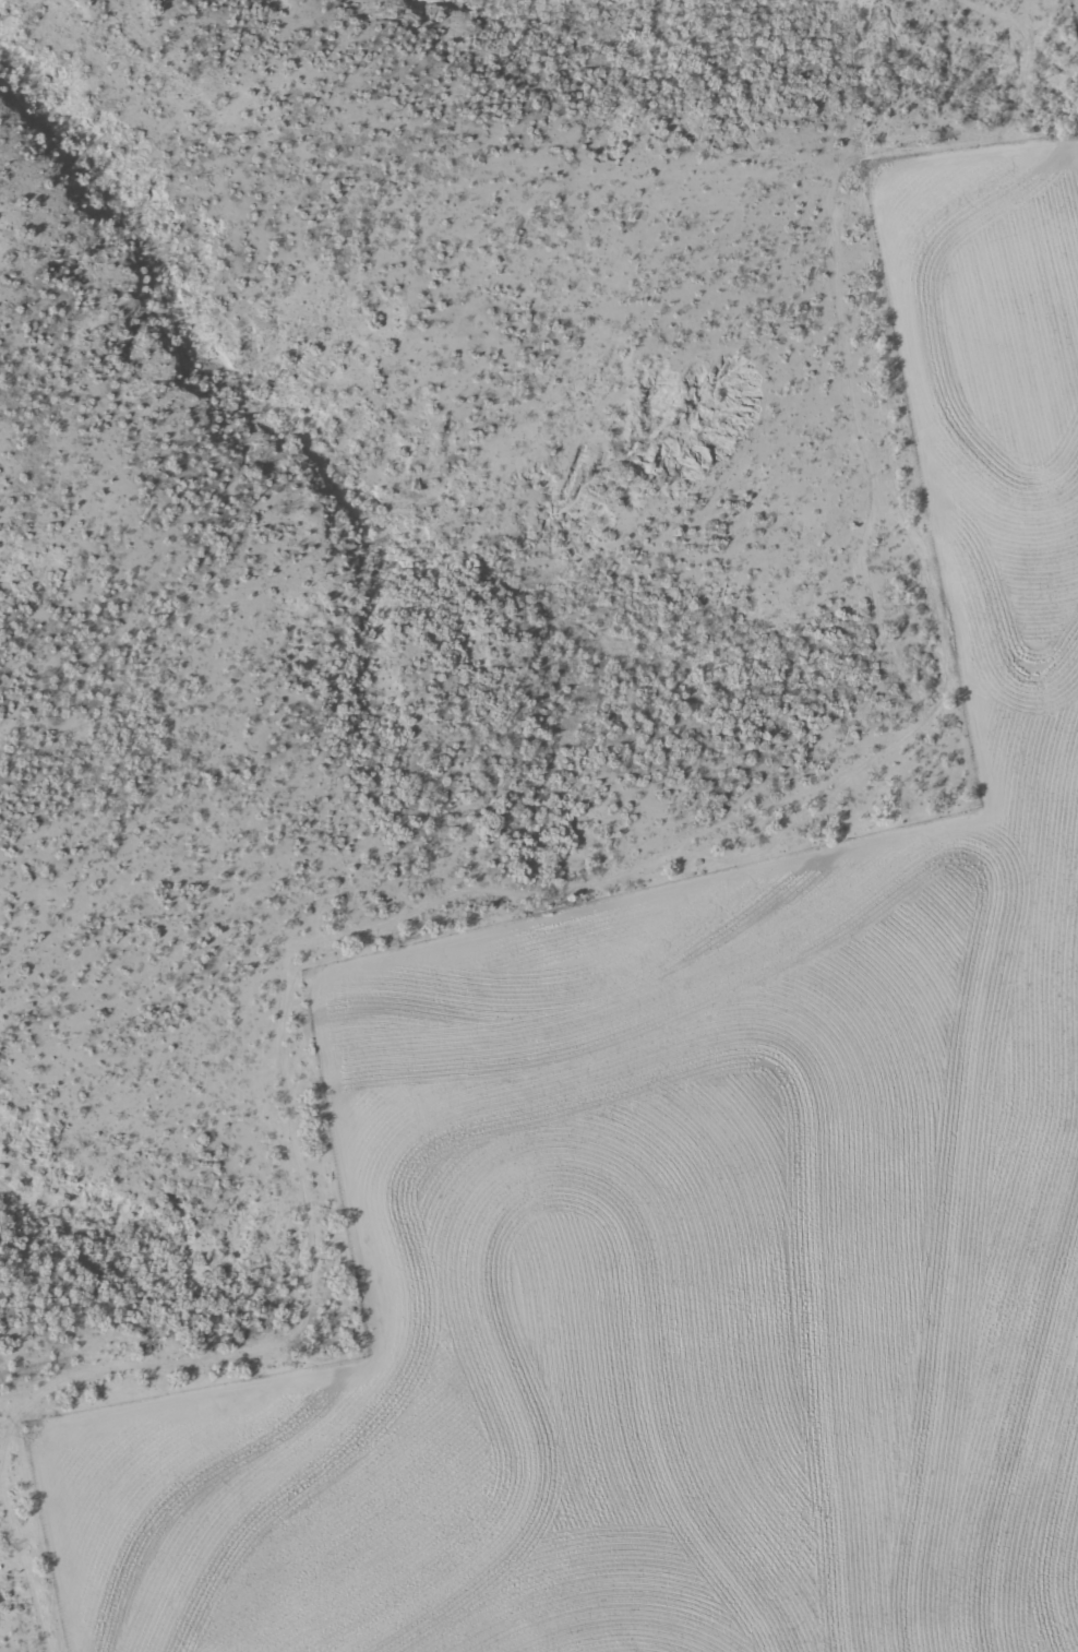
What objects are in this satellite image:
road: (11, 1618)

